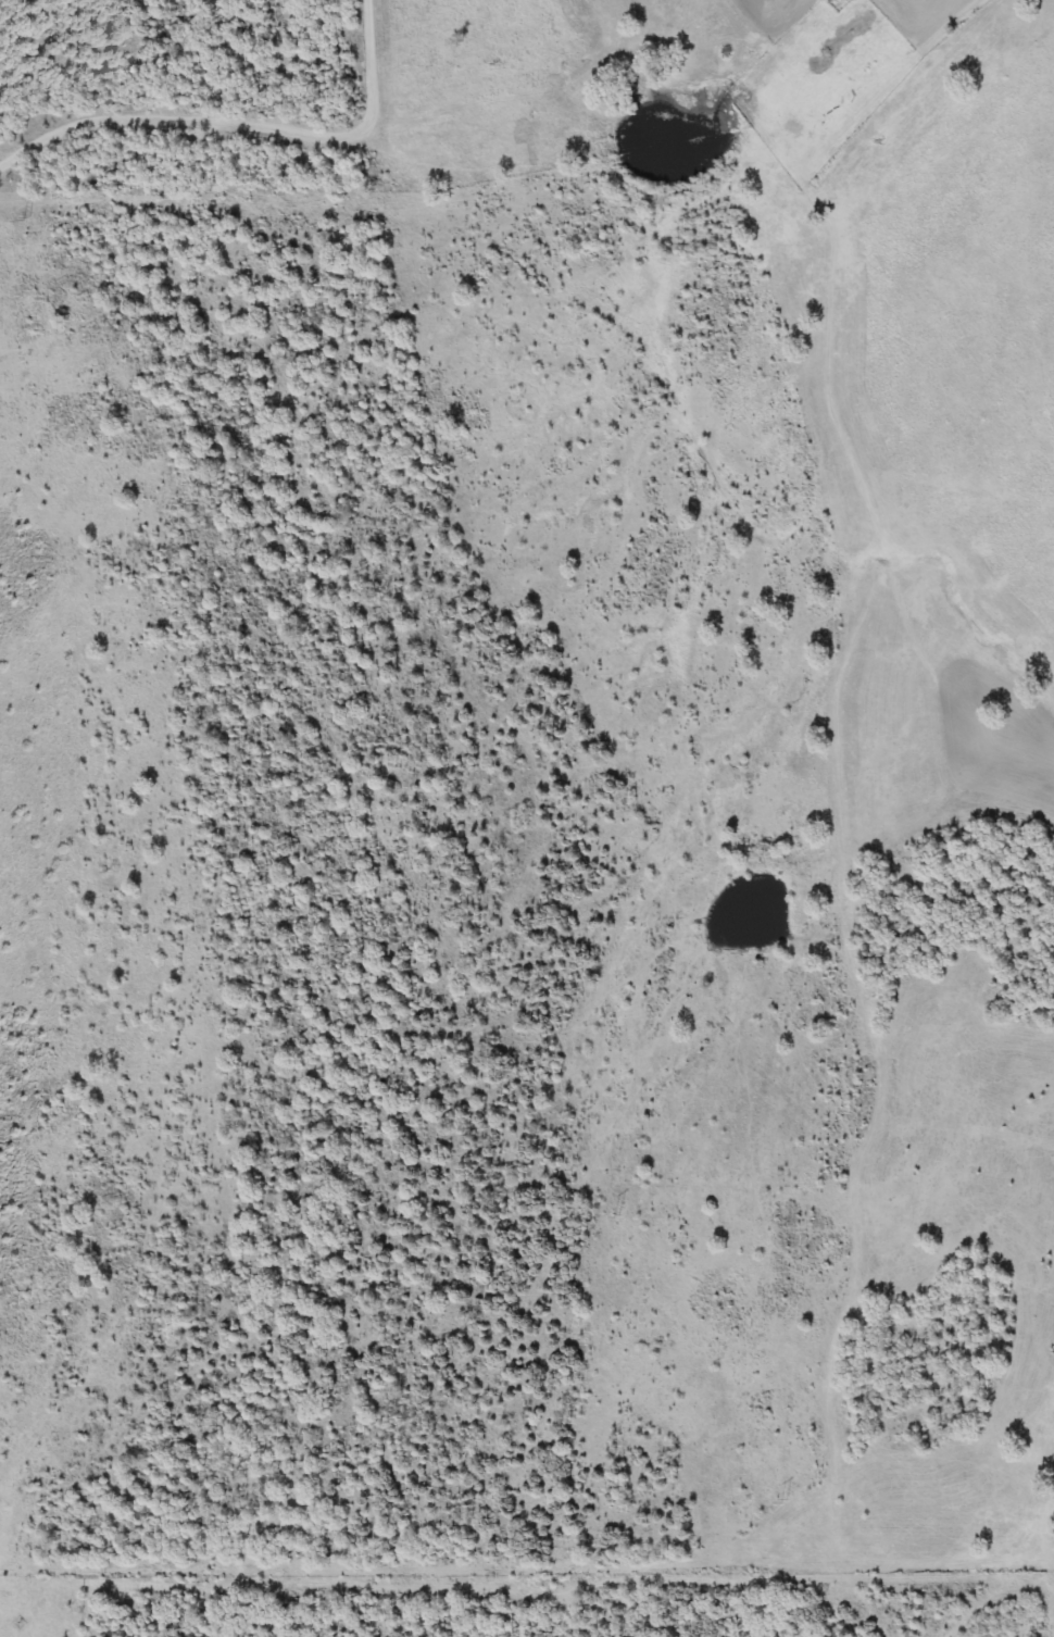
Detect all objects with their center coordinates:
road: (238, 121)
power tower: (39, 222)
power tower: (210, 505)
power tower: (399, 849)
power tower: (627, 1217)
power tower: (800, 1505)

